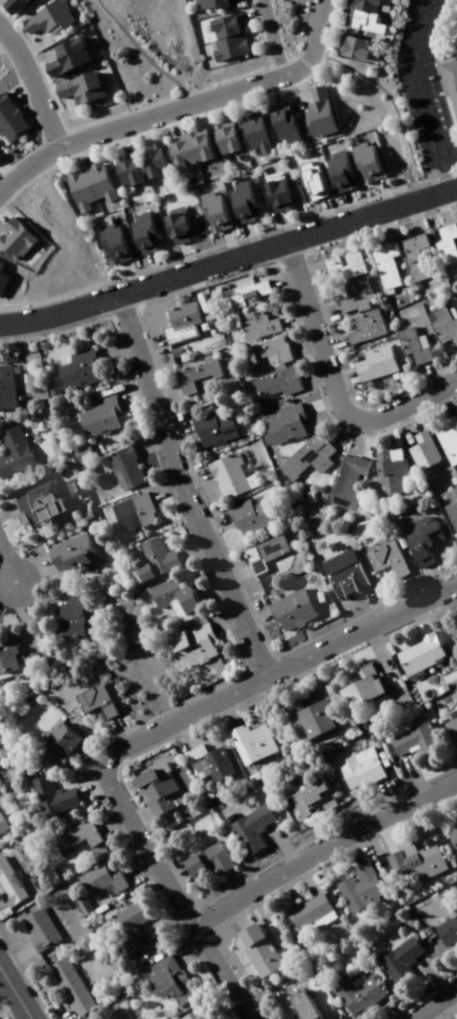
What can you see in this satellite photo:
building: (21, 0)
building: (192, 0)
building: (212, 3)
building: (7, 4)
building: (44, 16)
building: (365, 17)
building: (226, 33)
road: (270, 36)
building: (354, 49)
road: (144, 52)
building: (64, 55)
road: (296, 80)
building: (449, 80)
road: (32, 84)
parking lot: (422, 84)
building: (77, 85)
road: (269, 89)
road: (421, 92)
road: (214, 94)
road: (241, 96)
road: (214, 106)
building: (316, 111)
road: (189, 113)
road: (166, 119)
building: (280, 123)
road: (143, 126)
building: (252, 130)
road: (120, 134)
building: (223, 138)
road: (80, 148)
building: (187, 150)
road: (69, 151)
building: (363, 159)
building: (152, 161)
road: (29, 162)
building: (336, 168)
building: (125, 171)
building: (308, 180)
building: (86, 186)
building: (274, 192)
road: (380, 195)
building: (241, 198)
road: (441, 201)
road: (348, 204)
building: (212, 207)
road: (413, 210)
road: (325, 212)
road: (380, 220)
road: (284, 225)
building: (141, 228)
road: (250, 237)
building: (110, 240)
road: (228, 243)
building: (443, 243)
building: (412, 254)
road: (229, 255)
building: (342, 261)
building: (383, 262)
road: (152, 266)
road: (306, 266)
road: (128, 275)
road: (280, 277)
building: (238, 293)
building: (351, 295)
building: (455, 306)
road: (318, 309)
road: (292, 317)
building: (179, 319)
building: (253, 322)
building: (361, 325)
building: (442, 325)
road: (147, 335)
road: (111, 343)
road: (301, 343)
road: (326, 344)
building: (408, 345)
building: (269, 347)
building: (371, 362)
building: (77, 365)
building: (190, 373)
road: (311, 374)
building: (274, 377)
road: (337, 377)
road: (426, 378)
road: (330, 383)
building: (5, 386)
road: (162, 389)
road: (453, 389)
road: (129, 390)
road: (316, 401)
road: (436, 404)
building: (456, 414)
building: (97, 416)
road: (411, 417)
road: (174, 422)
building: (282, 422)
building: (210, 426)
road: (336, 428)
road: (389, 430)
building: (443, 437)
road: (362, 438)
road: (146, 440)
building: (12, 449)
building: (417, 449)
building: (304, 455)
building: (122, 465)
building: (386, 468)
road: (191, 472)
building: (225, 475)
building: (343, 481)
road: (181, 486)
road: (163, 489)
building: (36, 501)
road: (7, 508)
building: (132, 512)
building: (248, 514)
building: (450, 514)
building: (417, 540)
road: (187, 549)
building: (68, 552)
building: (259, 552)
building: (381, 556)
building: (151, 559)
road: (25, 561)
road: (4, 563)
road: (3, 568)
building: (341, 571)
road: (232, 573)
road: (430, 576)
road: (38, 581)
road: (407, 586)
building: (169, 598)
road: (371, 602)
road: (17, 608)
building: (287, 609)
building: (66, 615)
road: (218, 615)
road: (251, 616)
road: (414, 619)
building: (454, 631)
building: (190, 643)
road: (372, 648)
building: (417, 653)
building: (10, 655)
road: (317, 683)
building: (359, 683)
building: (92, 698)
road: (226, 711)
building: (302, 717)
road: (115, 727)
building: (397, 727)
building: (450, 727)
road: (143, 731)
road: (178, 733)
building: (414, 739)
building: (247, 742)
building: (48, 745)
road: (90, 750)
building: (205, 762)
building: (358, 765)
road: (415, 775)
road: (91, 784)
building: (154, 788)
building: (49, 794)
road: (388, 795)
building: (309, 797)
road: (137, 810)
road: (110, 819)
building: (456, 819)
building: (2, 823)
building: (251, 825)
road: (384, 832)
building: (75, 833)
building: (452, 835)
building: (403, 846)
road: (285, 847)
road: (323, 850)
building: (207, 859)
building: (412, 864)
road: (137, 865)
road: (176, 875)
building: (100, 876)
road: (305, 877)
road: (285, 882)
building: (357, 884)
building: (9, 885)
road: (232, 909)
building: (307, 913)
road: (159, 920)
road: (238, 920)
building: (126, 923)
building: (445, 925)
building: (37, 928)
building: (269, 937)
building: (257, 949)
road: (187, 950)
road: (14, 953)
building: (394, 957)
road: (432, 971)
building: (164, 982)
building: (69, 983)
building: (351, 990)
road: (418, 990)
road: (11, 999)
road: (435, 1002)
road: (451, 1002)
building: (295, 1004)
road: (388, 1006)
road: (58, 1012)
building: (192, 1014)
building: (105, 1016)
road: (245, 1017)
building: (116, 1018)
road: (296, 1018)

